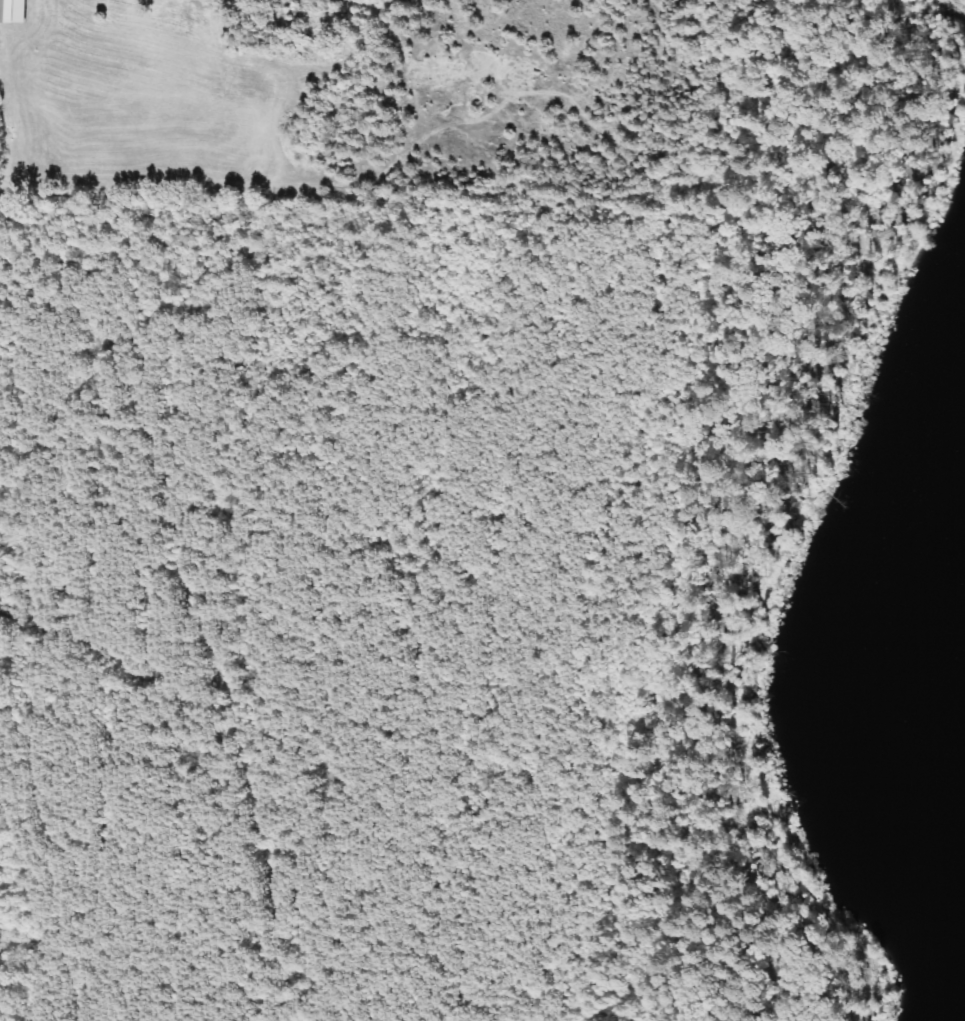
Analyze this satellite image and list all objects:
building: (12, 12)

